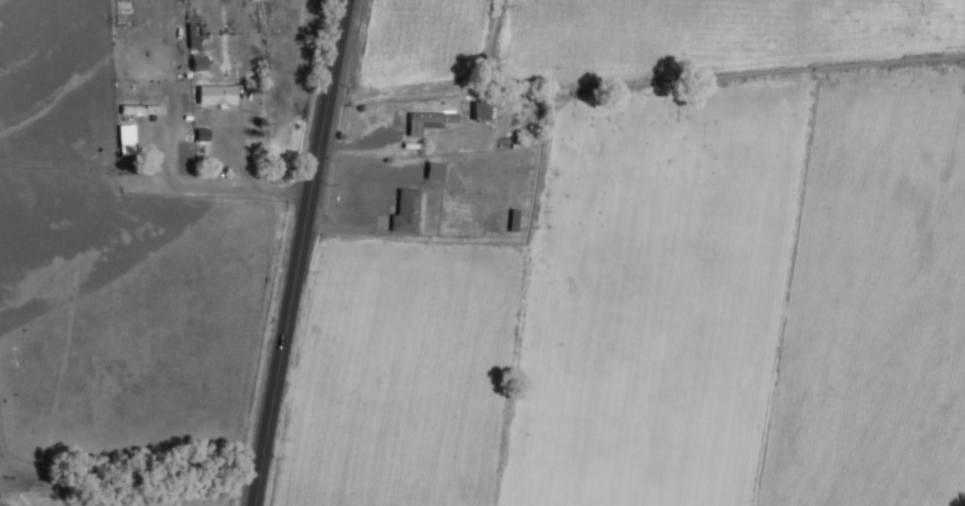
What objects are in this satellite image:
building: (193, 36)
building: (198, 63)
building: (218, 96)
building: (143, 111)
building: (480, 111)
building: (430, 123)
building: (434, 171)
road: (223, 187)
building: (408, 214)
building: (513, 221)
road: (300, 252)

